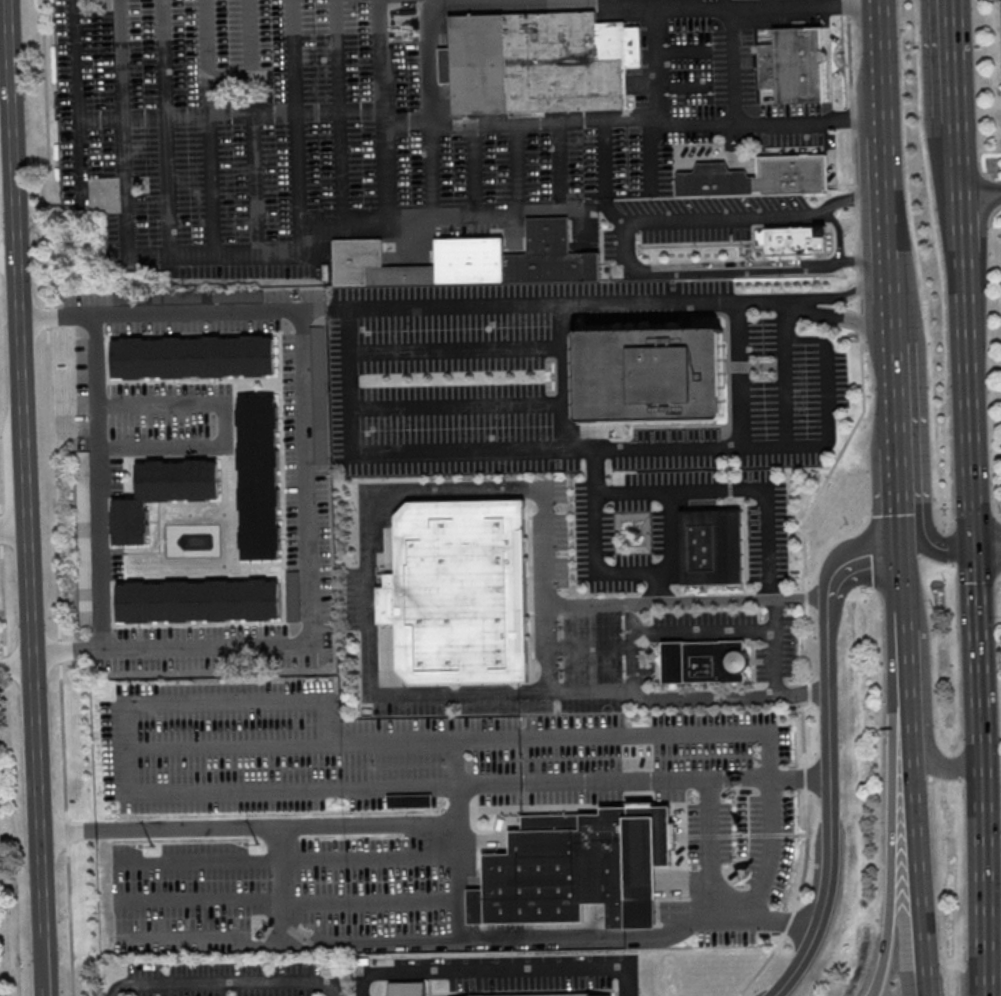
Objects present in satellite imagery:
road: (809, 0)
road: (521, 1)
road: (766, 1)
road: (482, 2)
road: (530, 2)
road: (697, 2)
road: (726, 3)
road: (686, 49)
road: (955, 56)
building: (541, 62)
building: (794, 64)
road: (660, 65)
road: (687, 84)
road: (79, 104)
road: (433, 107)
road: (339, 109)
road: (300, 112)
road: (750, 120)
road: (559, 121)
road: (659, 124)
road: (167, 127)
road: (211, 127)
road: (254, 127)
road: (13, 131)
road: (604, 151)
road: (297, 153)
road: (49, 154)
road: (560, 165)
road: (476, 169)
road: (887, 171)
building: (758, 177)
road: (980, 195)
road: (562, 208)
road: (758, 216)
road: (388, 217)
road: (129, 230)
road: (840, 231)
building: (796, 242)
building: (473, 259)
road: (9, 263)
road: (740, 268)
road: (854, 290)
building: (199, 295)
road: (550, 306)
road: (686, 315)
road: (47, 318)
road: (848, 319)
road: (966, 330)
road: (894, 345)
road: (476, 348)
building: (194, 358)
road: (756, 364)
building: (651, 372)
road: (787, 374)
road: (738, 375)
road: (729, 390)
road: (23, 396)
road: (897, 397)
road: (566, 398)
road: (458, 401)
road: (222, 424)
road: (589, 451)
road: (306, 473)
building: (260, 480)
road: (899, 480)
road: (97, 482)
road: (53, 485)
road: (735, 489)
building: (162, 497)
road: (814, 501)
road: (743, 506)
road: (0, 509)
building: (84, 524)
road: (14, 530)
road: (1, 531)
road: (668, 534)
road: (901, 535)
road: (595, 542)
building: (712, 545)
road: (988, 546)
road: (930, 547)
traffic signals: (976, 548)
traffic signals: (902, 557)
road: (854, 560)
road: (903, 594)
building: (292, 595)
building: (452, 595)
road: (31, 598)
road: (730, 599)
road: (3, 600)
building: (200, 601)
road: (715, 628)
road: (366, 633)
road: (548, 643)
road: (590, 646)
road: (633, 647)
road: (60, 652)
road: (774, 658)
building: (699, 664)
road: (5, 666)
road: (906, 666)
road: (16, 667)
road: (910, 727)
road: (535, 738)
road: (64, 744)
road: (458, 763)
road: (954, 770)
road: (984, 771)
road: (647, 780)
road: (132, 788)
road: (840, 802)
road: (264, 823)
road: (67, 830)
road: (38, 831)
road: (17, 835)
road: (898, 850)
road: (307, 862)
building: (582, 869)
road: (921, 874)
road: (720, 889)
road: (460, 899)
road: (286, 902)
road: (69, 917)
road: (600, 938)
road: (258, 942)
road: (365, 942)
road: (499, 967)
road: (228, 983)
building: (409, 989)
building: (552, 995)
building: (606, 995)

